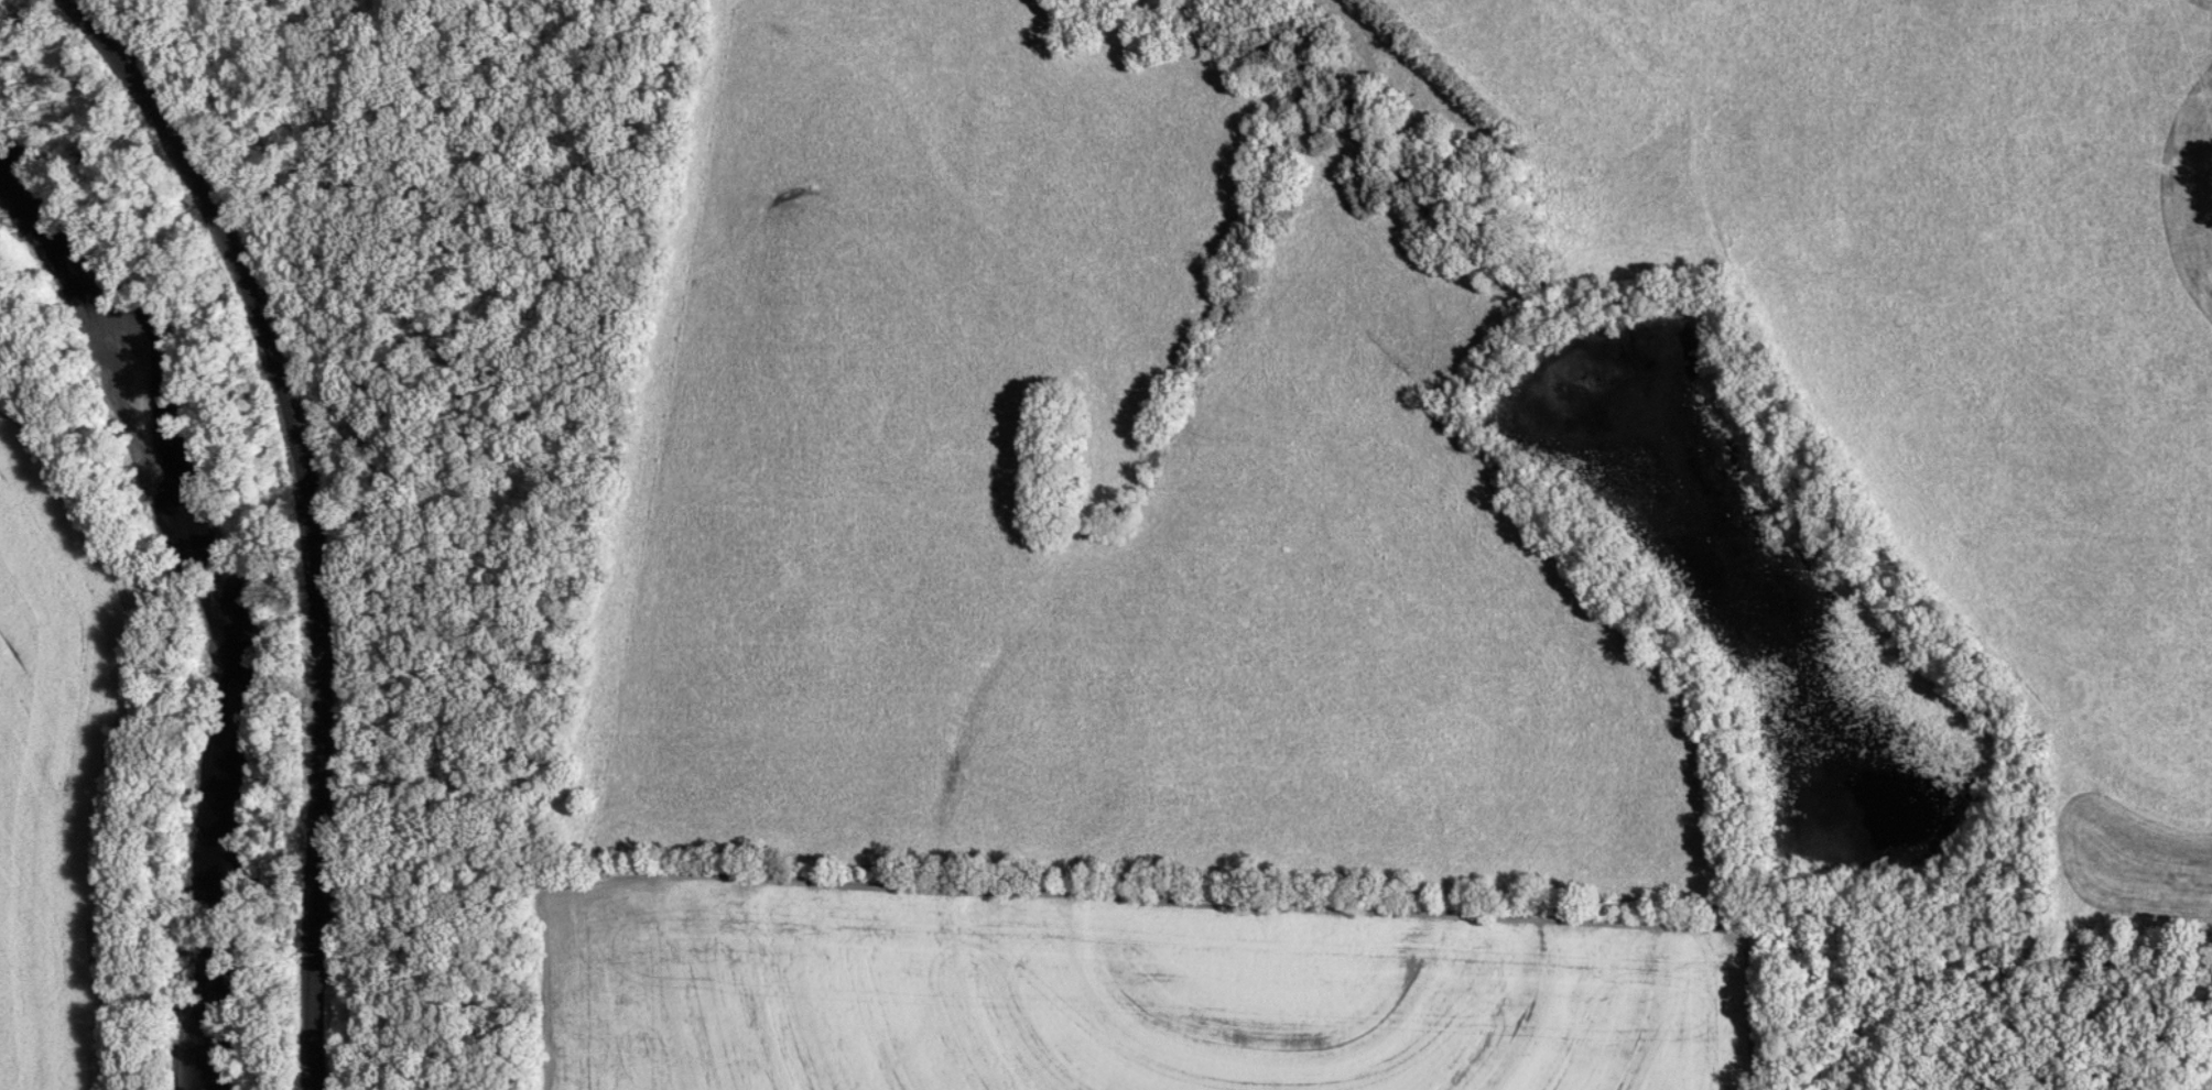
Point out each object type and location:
railway: (306, 515)
river: (217, 602)

